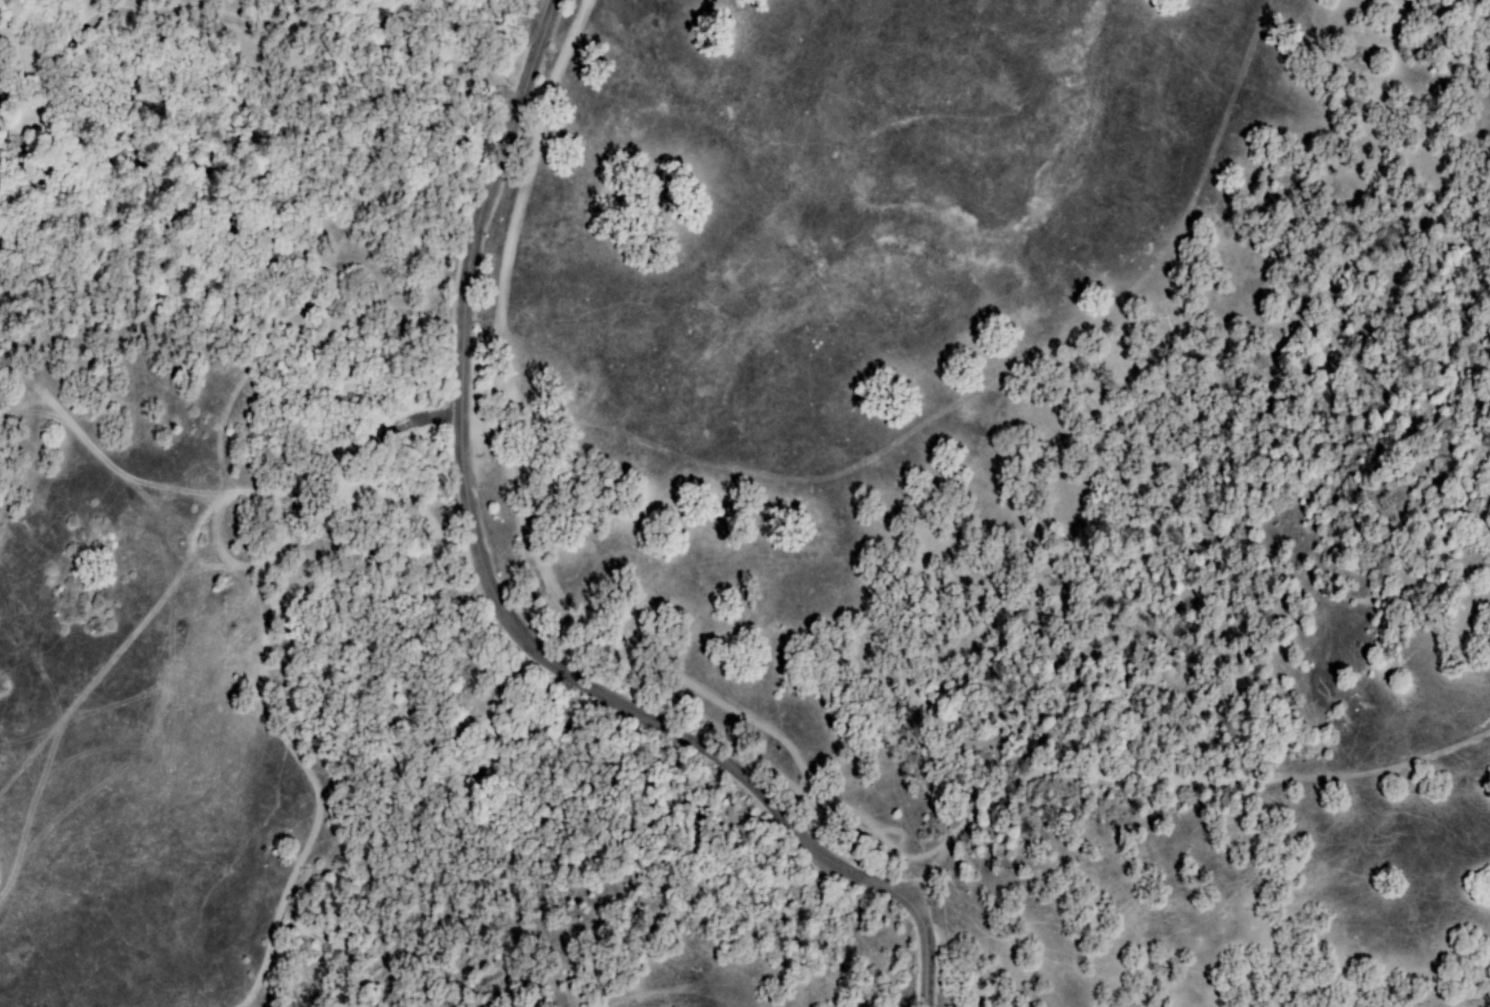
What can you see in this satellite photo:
road: (189, 19)
road: (943, 414)
road: (498, 600)
road: (1172, 781)

